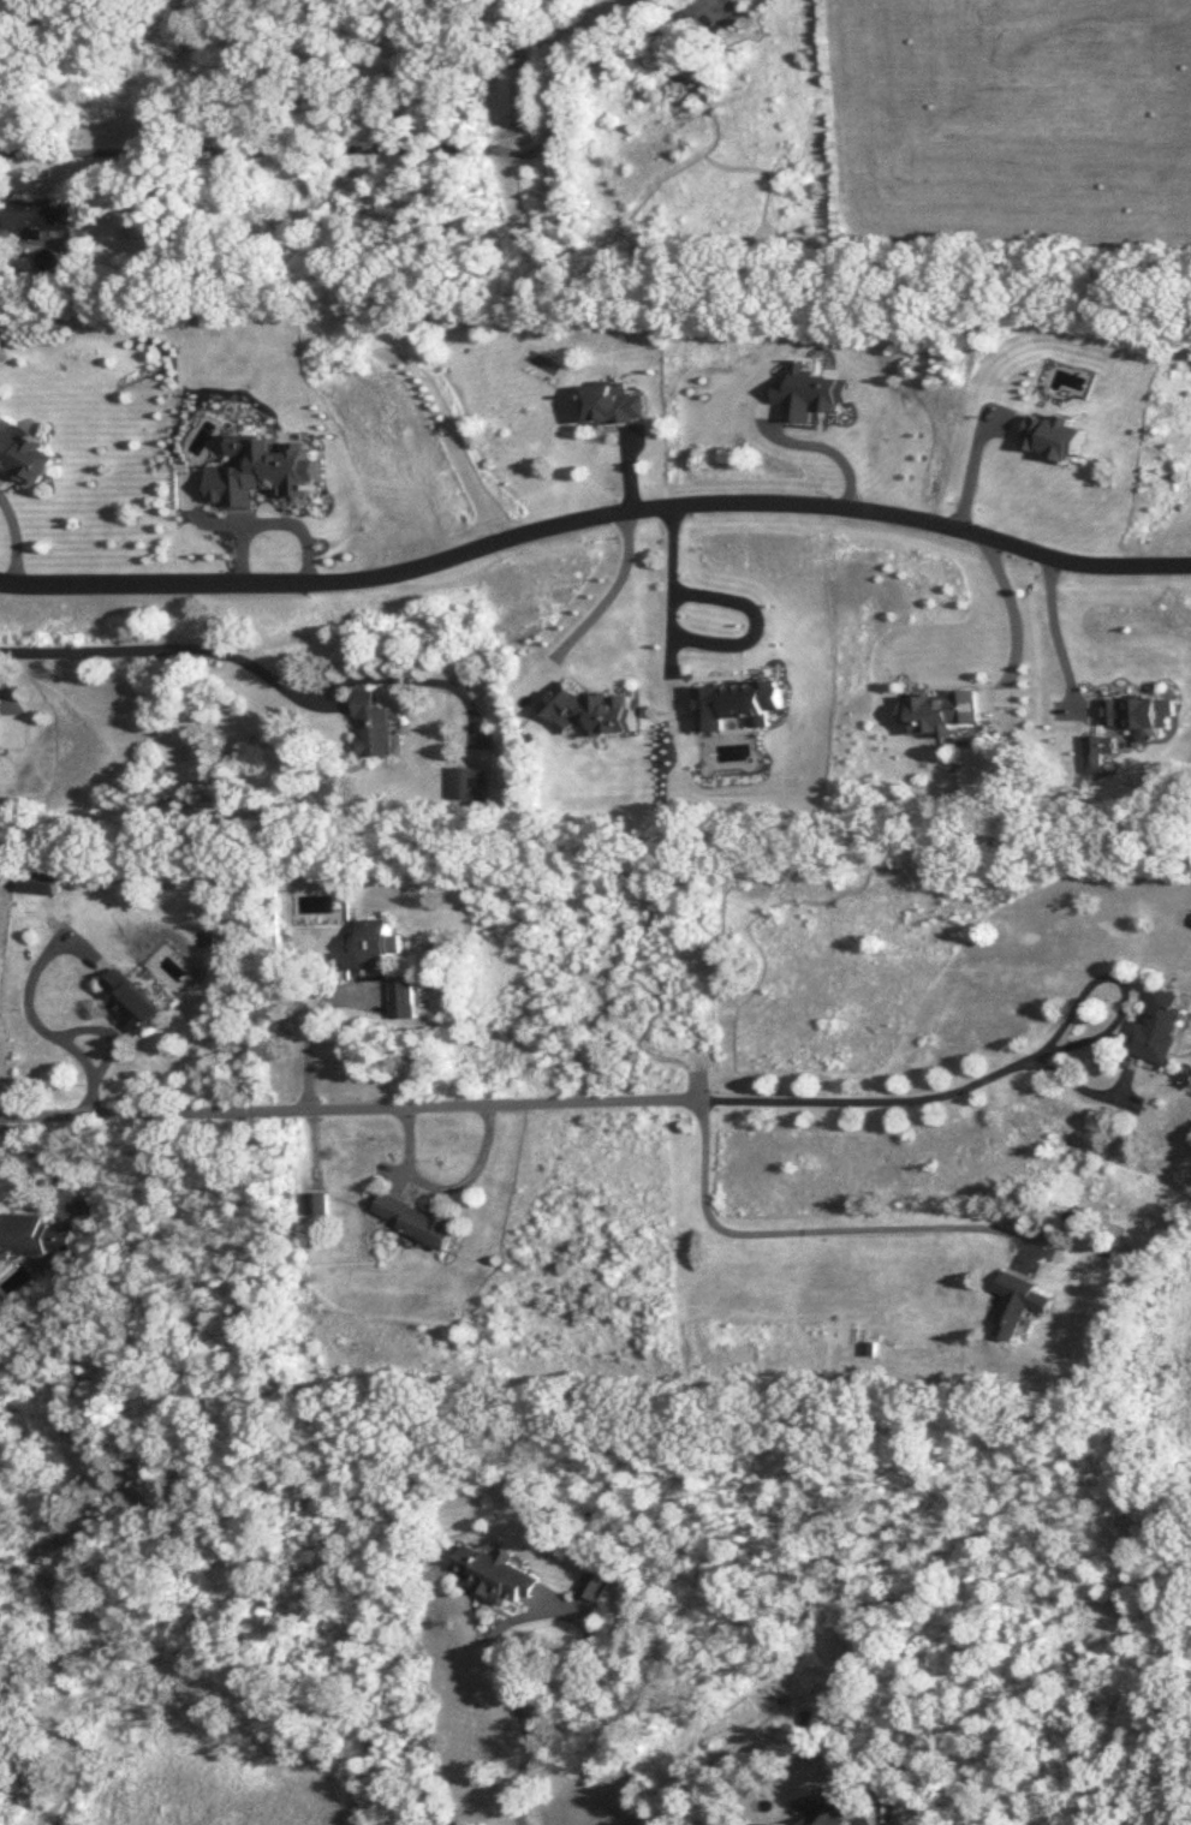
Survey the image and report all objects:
building: (513, 91)
road: (387, 148)
building: (37, 214)
building: (1, 336)
building: (25, 453)
road: (595, 517)
road: (207, 519)
road: (275, 525)
road: (12, 532)
road: (608, 598)
road: (674, 610)
road: (1017, 624)
road: (1056, 624)
road: (177, 651)
building: (375, 726)
building: (468, 785)
building: (40, 882)
building: (383, 961)
building: (132, 1003)
road: (41, 1024)
building: (1161, 1026)
road: (309, 1031)
road: (921, 1097)
road: (349, 1107)
road: (40, 1163)
road: (443, 1185)
building: (317, 1204)
building: (416, 1219)
road: (811, 1229)
building: (34, 1235)
building: (1023, 1305)
building: (493, 1578)
building: (592, 1585)
road: (542, 1611)
road: (513, 1785)
building: (835, 1809)

